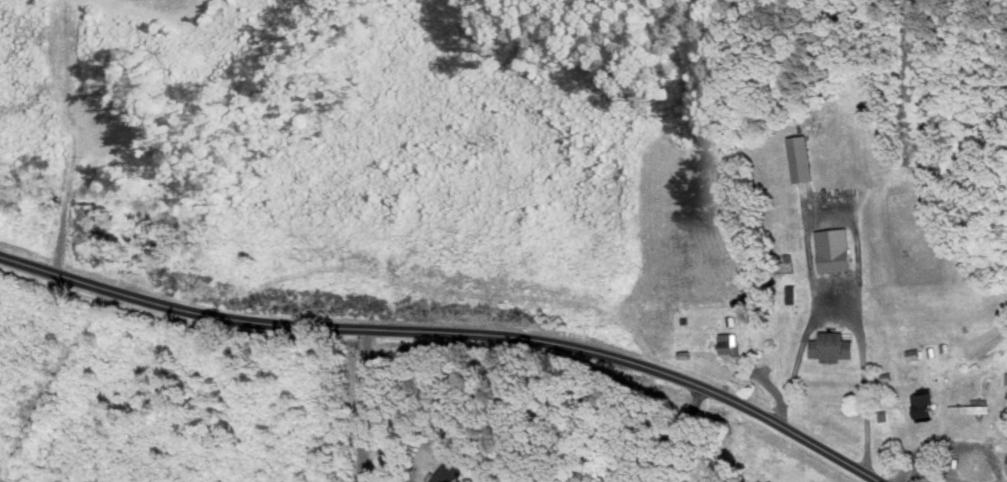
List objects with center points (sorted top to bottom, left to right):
building: (803, 158)
building: (836, 249)
road: (854, 318)
building: (732, 320)
road: (453, 331)
building: (730, 344)
building: (833, 346)
building: (946, 347)
building: (685, 354)
building: (916, 354)
building: (888, 376)
building: (1006, 376)
building: (1006, 401)
road: (363, 404)
building: (924, 405)
building: (970, 409)
building: (885, 415)
road: (677, 433)
road: (930, 471)
building: (448, 472)
building: (1006, 473)

